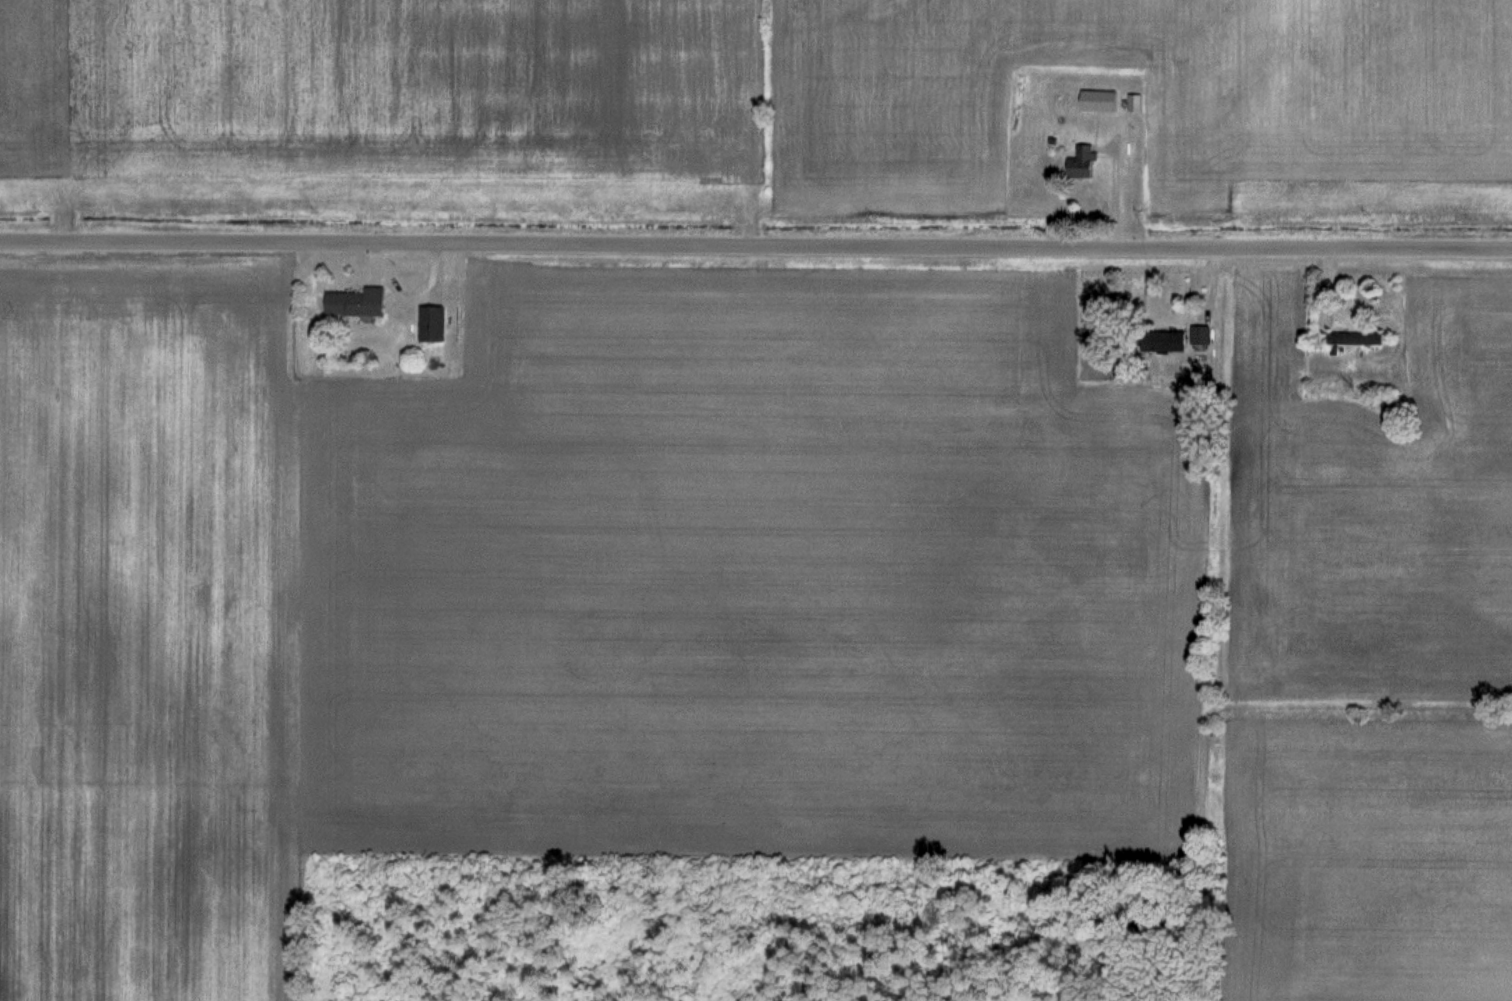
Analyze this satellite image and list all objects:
building: (1109, 102)
building: (1083, 168)
road: (755, 248)
building: (358, 304)
building: (434, 325)
building: (1202, 335)
building: (1357, 339)
building: (1174, 341)

